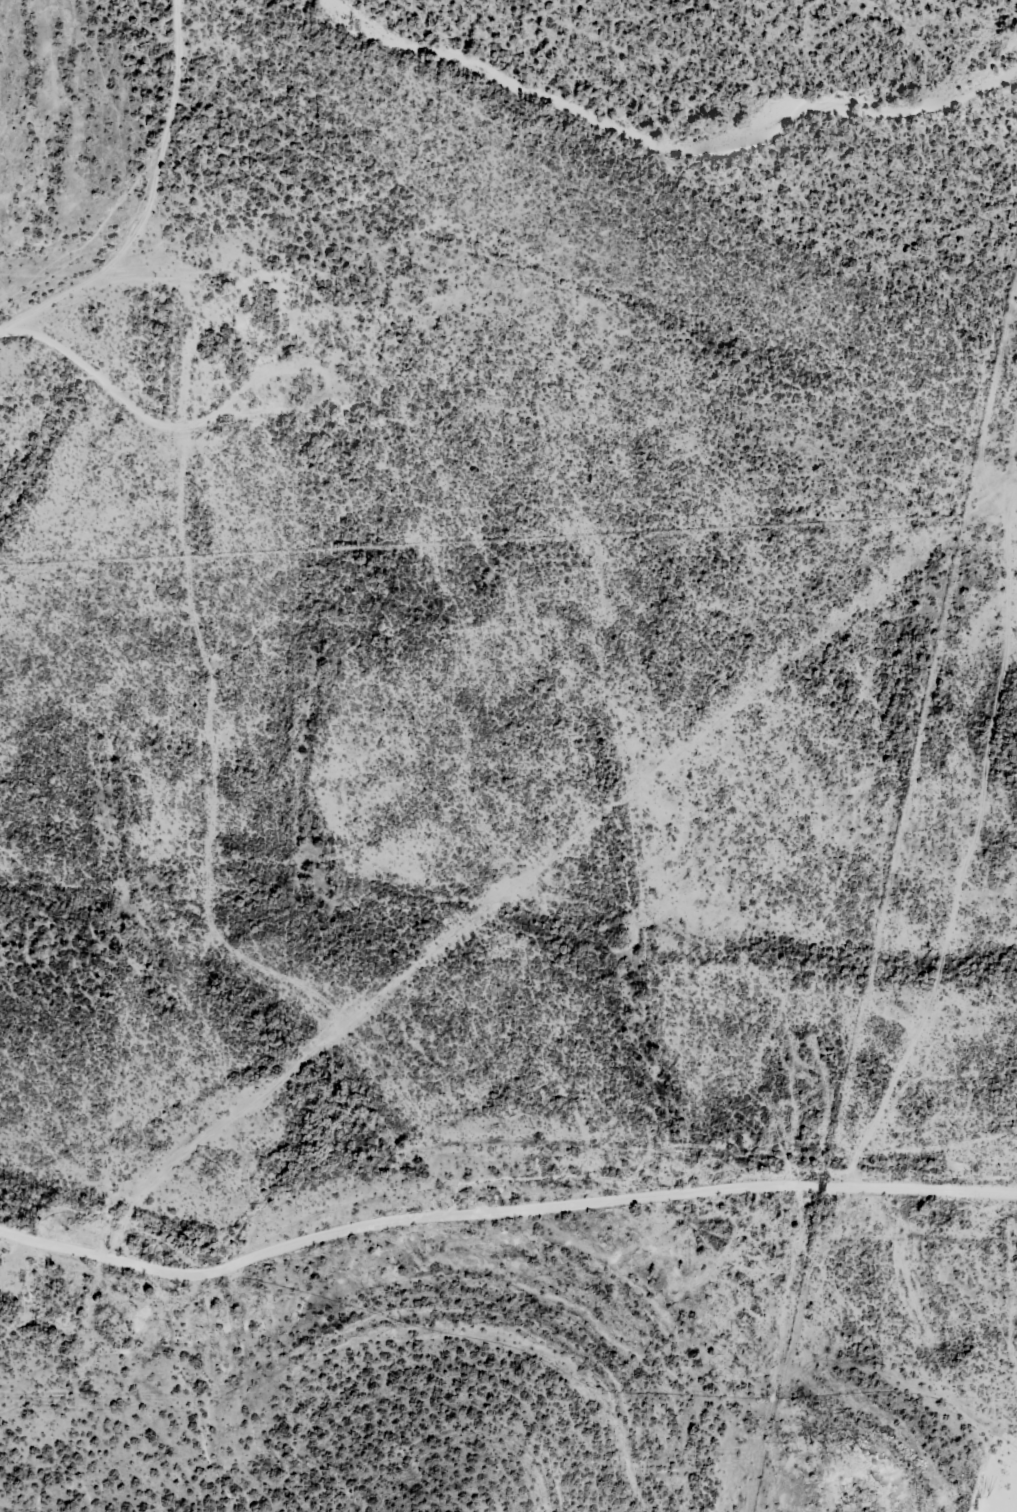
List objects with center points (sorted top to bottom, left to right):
road: (125, 208)
road: (504, 1230)
road: (779, 1361)

